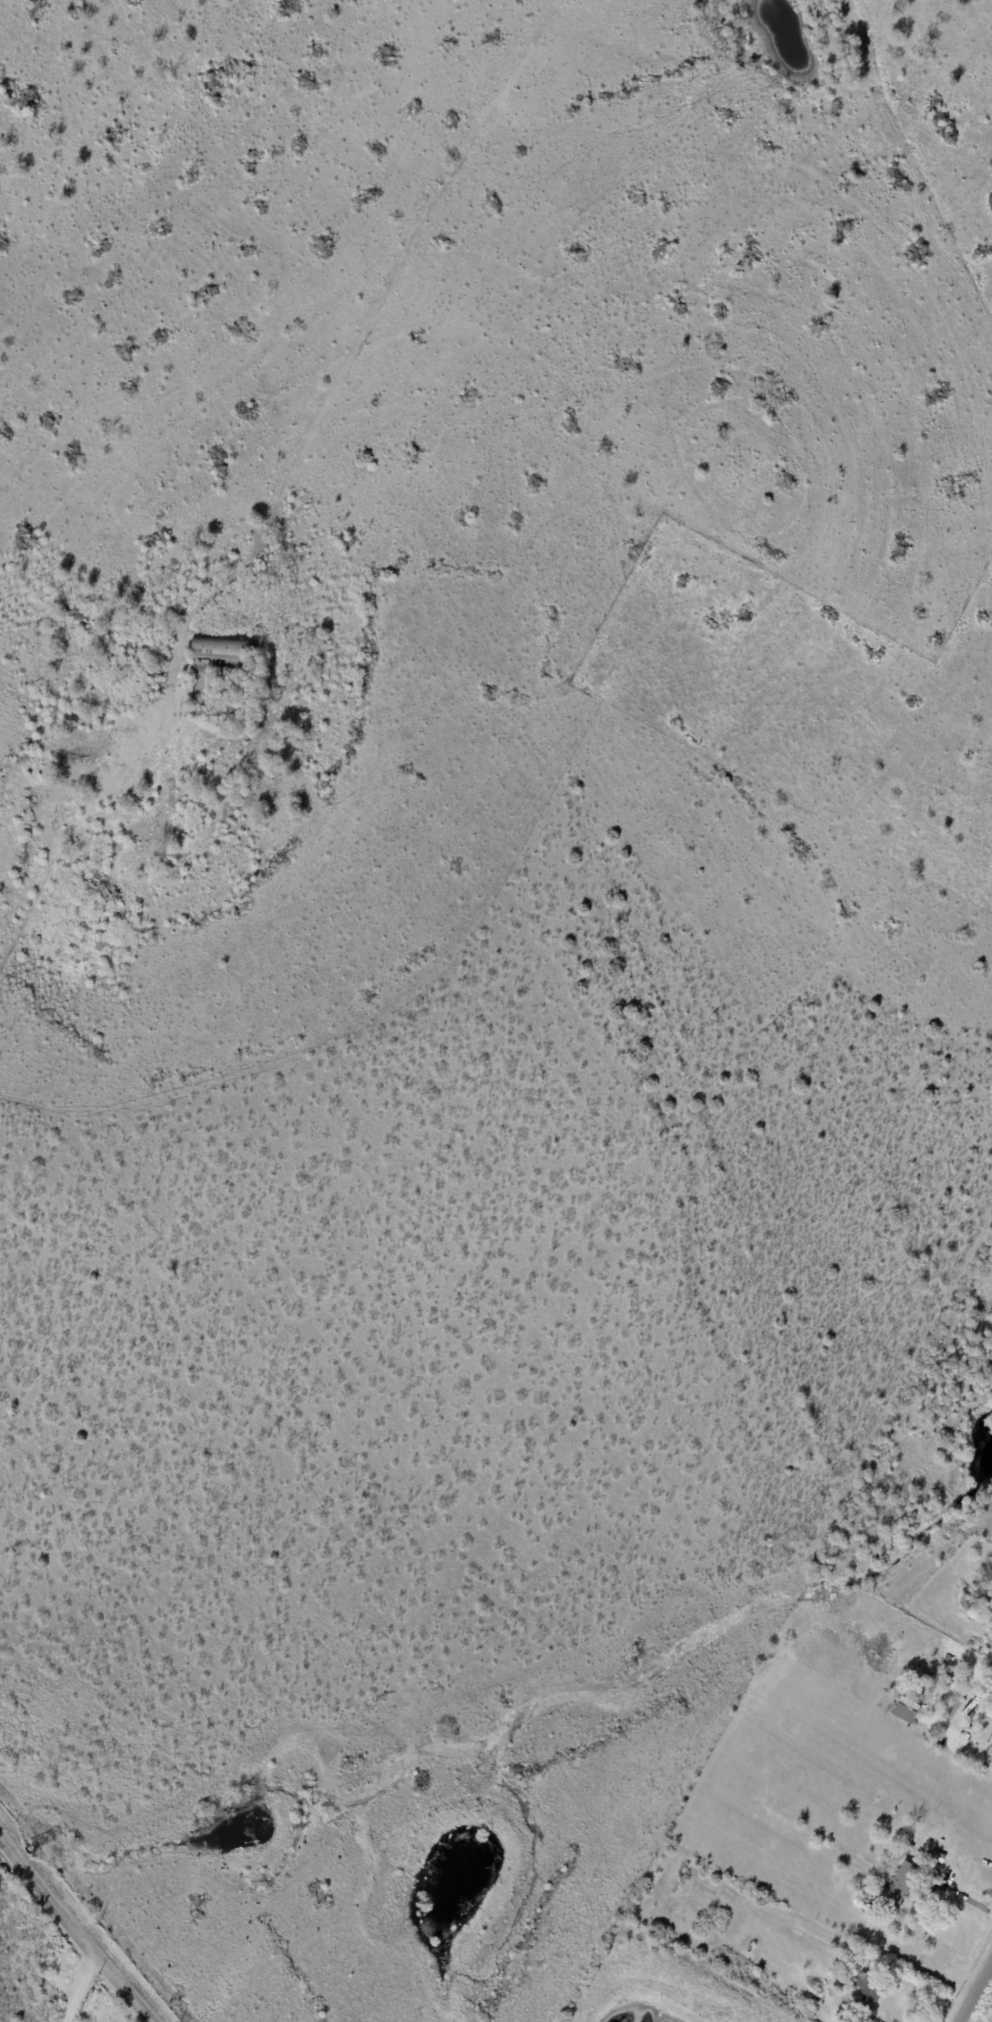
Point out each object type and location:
building: (222, 654)
building: (148, 812)
road: (63, 832)
building: (985, 1586)
building: (964, 1600)
building: (941, 1685)
building: (906, 1711)
building: (969, 1731)
building: (991, 1747)
building: (910, 1848)
building: (905, 1854)
building: (937, 1858)
building: (897, 1888)
road: (958, 1894)
road: (74, 1930)
road: (697, 1977)
building: (840, 1984)
road: (81, 1989)
building: (868, 1991)
road: (975, 1991)
building: (816, 2011)

